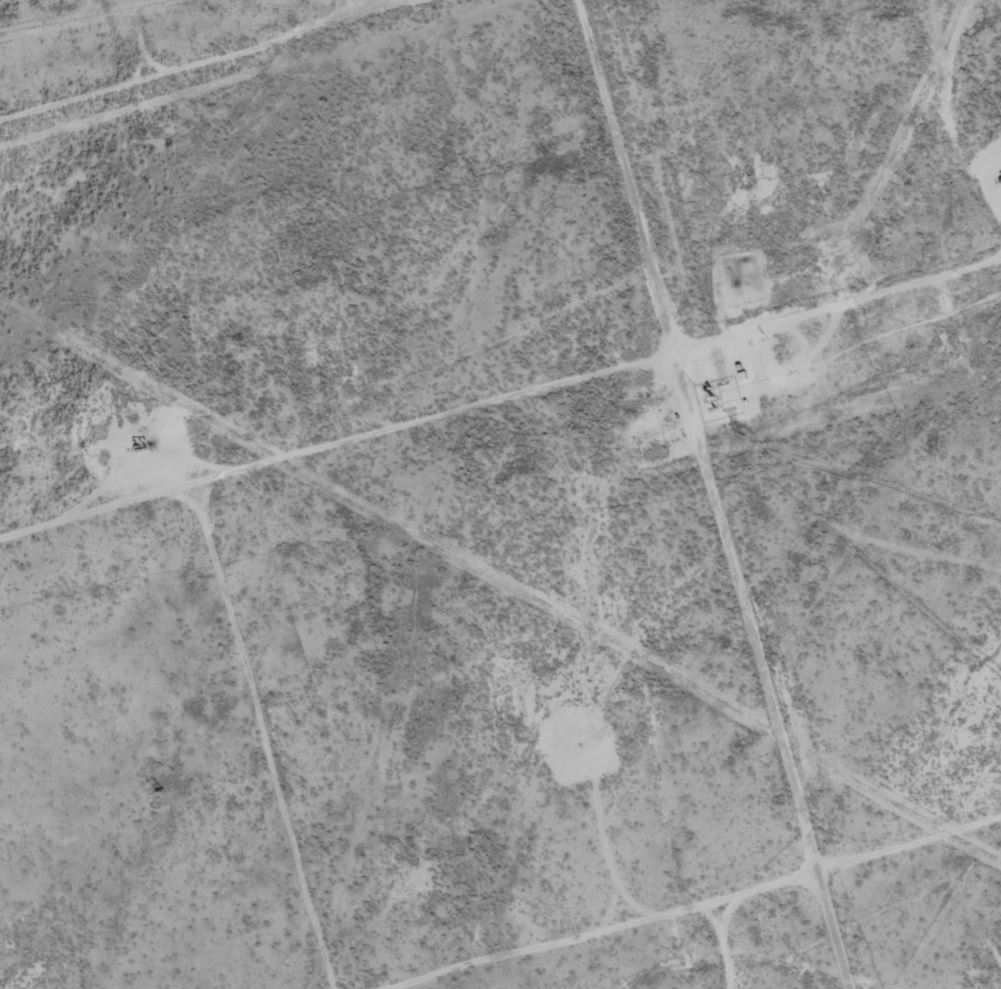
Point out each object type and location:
road: (500, 397)
road: (728, 494)
road: (268, 739)

